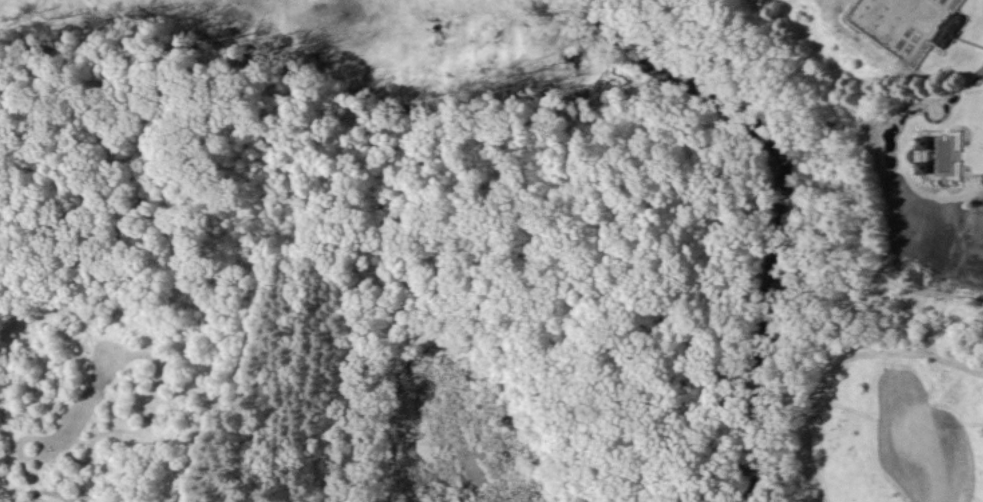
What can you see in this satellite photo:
building: (948, 29)
building: (926, 154)

